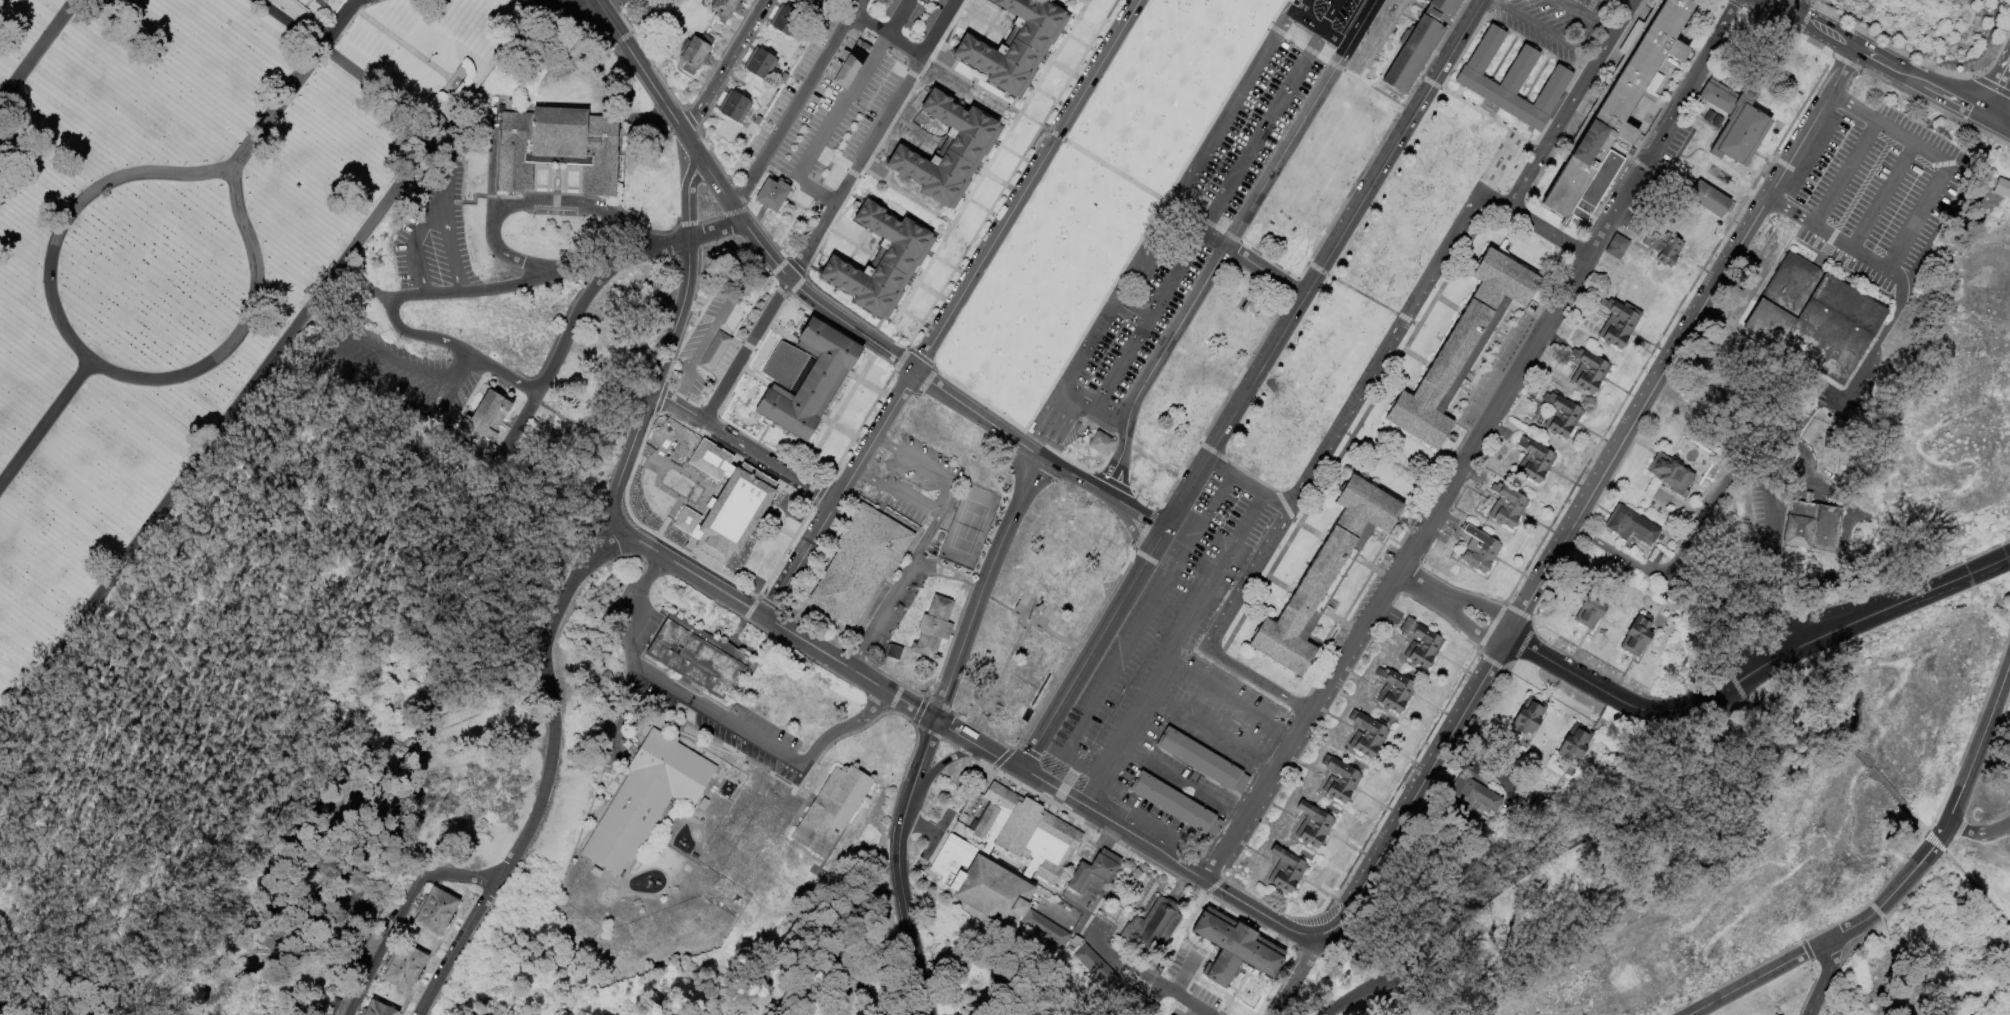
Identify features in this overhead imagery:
road: (516, 0)
road: (518, 0)
building: (831, 0)
road: (1137, 0)
road: (1499, 0)
building: (323, 1)
building: (825, 1)
road: (1082, 1)
road: (1085, 1)
road: (1412, 2)
road: (1966, 3)
road: (558, 5)
road: (1290, 5)
road: (1780, 7)
road: (1795, 7)
building: (725, 9)
building: (1437, 9)
road: (1572, 10)
road: (1615, 10)
road: (350, 18)
road: (1281, 21)
road: (338, 22)
building: (786, 22)
parking lot: (1546, 22)
road: (1536, 23)
road: (1363, 24)
road: (1602, 26)
road: (1317, 30)
road: (1825, 31)
road: (1960, 33)
road: (1585, 35)
road: (885, 36)
road: (1441, 38)
road: (1381, 39)
road: (398, 42)
building: (1017, 46)
road: (1085, 46)
road: (1304, 48)
road: (36, 50)
road: (1462, 50)
building: (696, 53)
road: (644, 54)
building: (1410, 54)
road: (1974, 58)
flagpole: (426, 62)
road: (1844, 63)
building: (761, 64)
building: (853, 65)
road: (345, 66)
road: (638, 67)
road: (723, 67)
road: (1893, 67)
road: (1983, 69)
road: (1999, 69)
road: (2000, 69)
road: (1068, 73)
building: (1512, 81)
road: (1429, 82)
road: (1371, 86)
road: (1935, 87)
road: (2007, 88)
road: (854, 89)
road: (1410, 90)
road: (717, 91)
road: (1959, 92)
road: (1950, 96)
road: (1052, 100)
road: (1948, 102)
road: (1574, 103)
road: (1923, 103)
road: (278, 104)
road: (795, 104)
building: (1618, 105)
building: (735, 107)
road: (1277, 107)
road: (1798, 108)
road: (2008, 110)
road: (1227, 111)
road: (688, 118)
building: (1709, 118)
road: (1493, 120)
road: (1980, 121)
building: (1717, 122)
building: (1735, 122)
road: (2001, 125)
road: (1662, 126)
road: (1046, 130)
building: (559, 149)
building: (949, 152)
road: (1972, 153)
road: (1018, 157)
road: (1943, 161)
road: (989, 164)
road: (1785, 165)
road: (1010, 173)
road: (1845, 176)
parking lot: (1877, 180)
road: (1002, 183)
road: (1026, 185)
building: (1598, 186)
building: (2001, 188)
road: (818, 190)
road: (849, 191)
road: (1748, 191)
road: (736, 193)
road: (447, 194)
building: (772, 196)
road: (1880, 197)
building: (1708, 200)
road: (526, 203)
road: (1195, 203)
road: (492, 205)
road: (986, 210)
road: (829, 212)
road: (451, 213)
road: (1152, 215)
road: (751, 217)
road: (428, 219)
road: (1331, 220)
parking lot: (1190, 221)
road: (1204, 223)
road: (1206, 223)
road: (1341, 229)
road: (1552, 230)
parking lot: (434, 233)
road: (1827, 238)
road: (1713, 246)
road: (654, 248)
road: (1146, 248)
building: (1617, 248)
building: (1664, 248)
park: (290, 249)
building: (883, 262)
road: (777, 266)
road: (794, 266)
road: (1216, 267)
road: (951, 268)
road: (1316, 268)
road: (780, 270)
road: (1266, 270)
road: (362, 283)
road: (794, 286)
road: (477, 291)
road: (779, 291)
road: (935, 295)
road: (1367, 297)
road: (1155, 307)
road: (1674, 309)
building: (1815, 319)
road: (571, 322)
road: (918, 322)
road: (1890, 322)
building: (1619, 324)
road: (1096, 330)
road: (677, 334)
road: (412, 335)
road: (341, 347)
building: (713, 351)
road: (918, 355)
building: (1459, 355)
road: (898, 358)
road: (90, 360)
road: (933, 367)
road: (499, 372)
building: (1589, 372)
building: (812, 381)
road: (922, 383)
road: (877, 390)
road: (907, 395)
road: (1853, 399)
road: (978, 400)
road: (844, 402)
road: (1094, 410)
road: (895, 415)
road: (978, 415)
road: (1349, 415)
building: (489, 416)
building: (1561, 417)
road: (45, 421)
road: (858, 426)
road: (218, 430)
road: (850, 435)
road: (880, 441)
road: (888, 444)
building: (1100, 444)
road: (741, 449)
road: (459, 457)
road: (870, 457)
road: (658, 458)
road: (1391, 461)
building: (1534, 461)
road: (920, 464)
road: (862, 470)
building: (1672, 475)
road: (868, 476)
road: (1073, 477)
parking lot: (918, 481)
road: (673, 485)
road: (1247, 485)
road: (818, 492)
road: (1184, 493)
road: (839, 494)
road: (1591, 496)
road: (1110, 497)
road: (908, 499)
building: (1507, 506)
park: (1005, 507)
road: (1708, 509)
road: (1140, 514)
building: (734, 516)
road: (935, 516)
building: (1632, 526)
building: (1812, 526)
park: (968, 527)
building: (1462, 527)
road: (1546, 527)
road: (1132, 531)
road: (1773, 533)
road: (1153, 546)
road: (783, 550)
building: (1480, 551)
road: (1616, 553)
building: (857, 562)
road: (1396, 566)
road: (229, 568)
road: (687, 572)
road: (921, 574)
building: (1320, 580)
road: (1421, 586)
road: (982, 587)
road: (898, 593)
road: (1503, 602)
road: (768, 603)
road: (1483, 610)
building: (1591, 610)
road: (1516, 611)
road: (636, 615)
building: (1393, 617)
flagpole: (1025, 620)
road: (1776, 620)
road: (1531, 624)
building: (933, 625)
road: (1490, 625)
road: (1472, 627)
building: (1637, 637)
road: (1058, 638)
building: (1421, 645)
road: (1521, 646)
road: (862, 651)
building: (891, 652)
road: (1475, 652)
road: (1010, 655)
building: (697, 657)
parking lot: (1177, 660)
road: (1490, 661)
building: (1365, 664)
road: (1755, 664)
road: (1080, 667)
road: (850, 670)
road: (1507, 670)
road: (1735, 685)
road: (1624, 686)
road: (1268, 687)
building: (1395, 691)
road: (1550, 692)
road: (1222, 693)
road: (919, 696)
road: (893, 697)
road: (1553, 698)
road: (875, 702)
building: (1338, 708)
building: (1529, 717)
road: (714, 719)
road: (273, 721)
road: (1784, 721)
road: (1203, 724)
road: (1971, 729)
road: (835, 733)
building: (1368, 735)
road: (961, 736)
parking lot: (751, 737)
building: (1575, 745)
road: (1840, 748)
road: (1127, 751)
building: (1311, 752)
road: (924, 756)
building: (1201, 760)
road: (1003, 761)
road: (945, 763)
road: (1076, 770)
road: (552, 778)
building: (1340, 781)
road: (1882, 783)
road: (1183, 784)
building: (1472, 796)
building: (1284, 797)
building: (646, 802)
building: (1177, 807)
building: (831, 810)
road: (1236, 815)
road: (1916, 822)
building: (1314, 826)
road: (1978, 839)
building: (1257, 842)
road: (1933, 842)
building: (1006, 852)
road: (1557, 857)
road: (1992, 857)
road: (1170, 859)
building: (1287, 871)
building: (1096, 873)
road: (1621, 885)
road: (1901, 885)
road: (1976, 888)
road: (902, 903)
building: (436, 912)
road: (407, 914)
road: (1885, 924)
building: (1154, 926)
building: (1046, 929)
building: (354, 947)
building: (1235, 948)
road: (1121, 962)
building: (405, 968)
building: (1097, 968)
road: (1184, 968)
road: (13, 971)
road: (1829, 973)
road: (1301, 979)
road: (1906, 982)
road: (1173, 988)
road: (1099, 997)
road: (1417, 997)
building: (1140, 1004)
building: (330, 1005)
road: (1, 1010)
building: (379, 1010)
road: (1194, 1012)
road: (5, 1013)
road: (1448, 1013)

